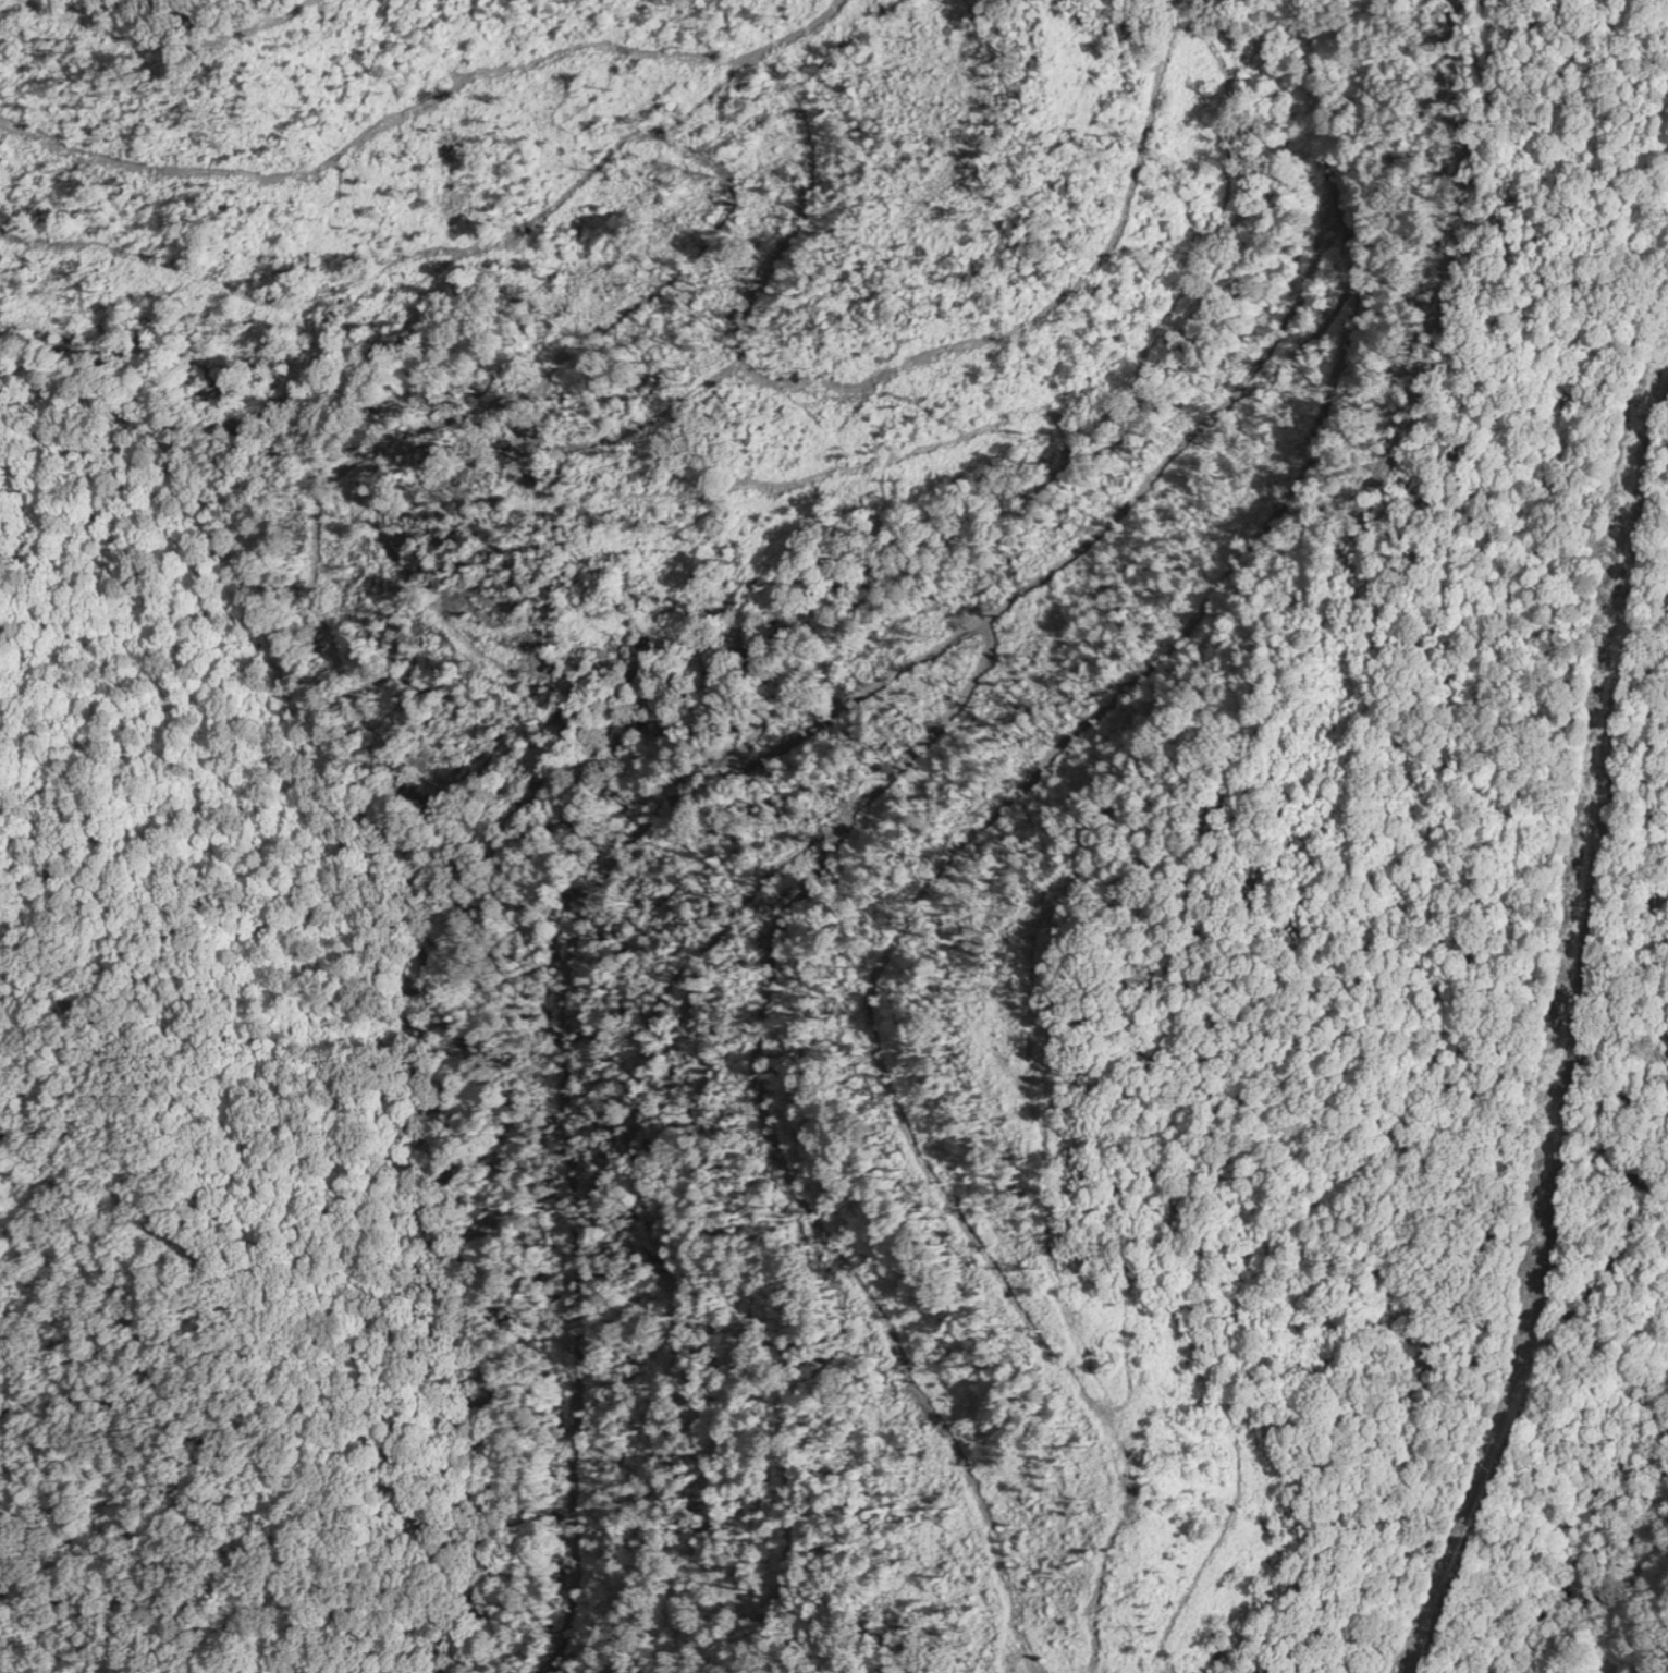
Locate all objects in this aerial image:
road: (1648, 830)
road: (1518, 1389)
road: (1645, 1638)

